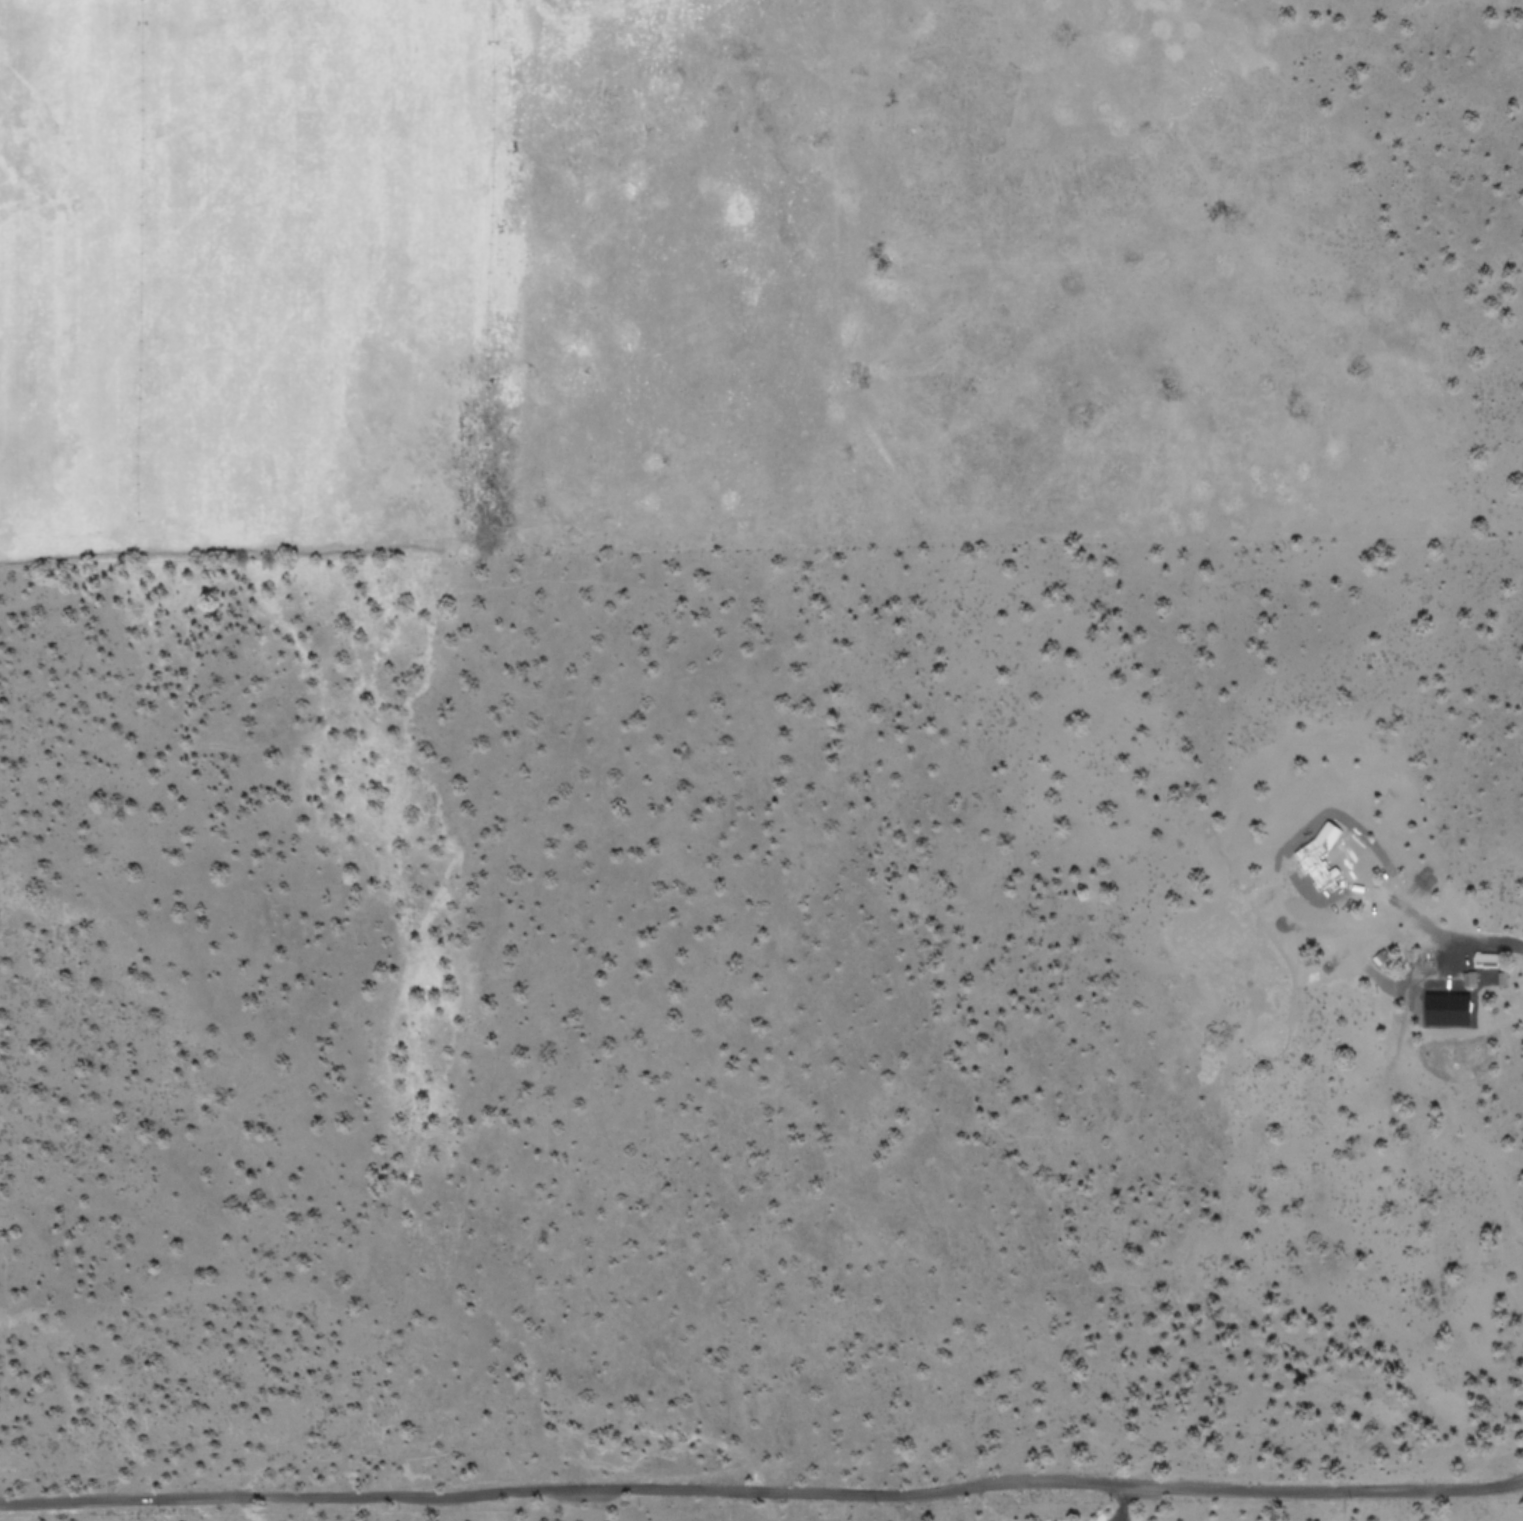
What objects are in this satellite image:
crop: (686, 276)
building: (1449, 1008)
road: (762, 1493)

